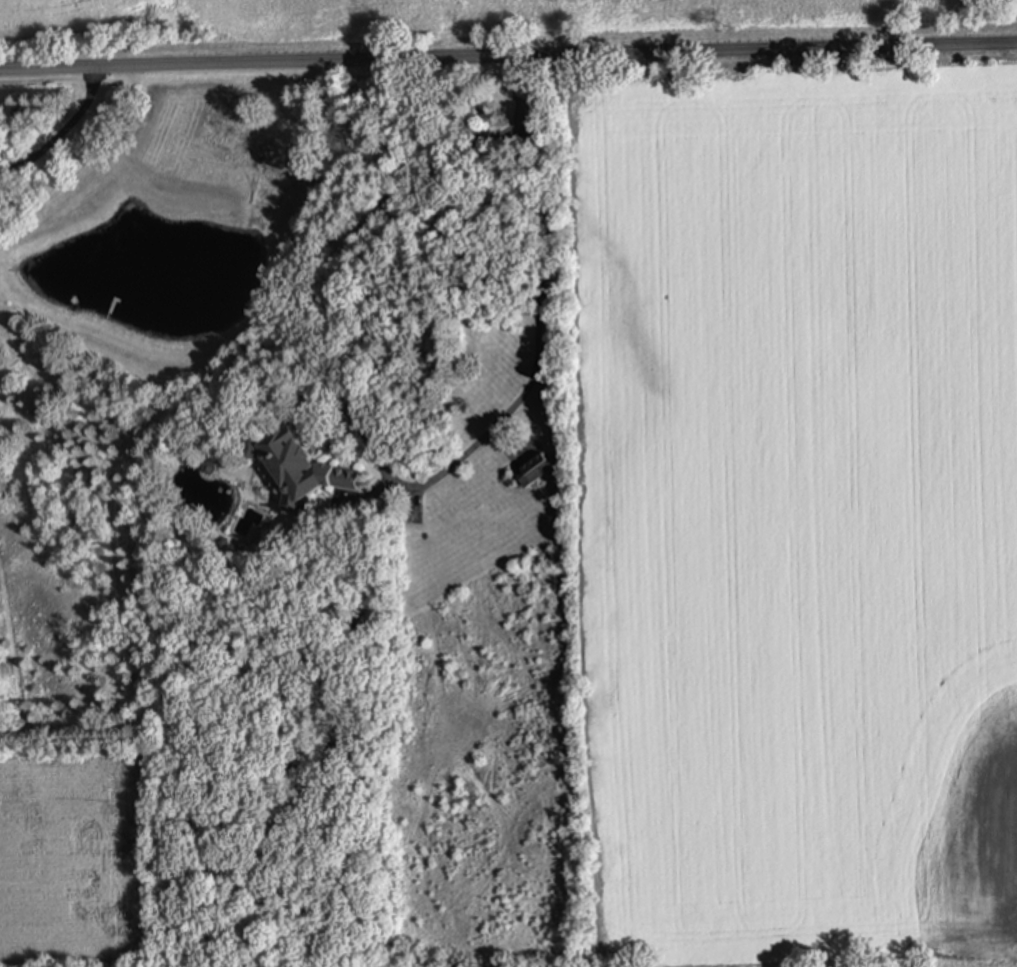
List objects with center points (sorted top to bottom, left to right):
road: (508, 58)
road: (62, 135)
road: (534, 301)
building: (298, 469)
building: (532, 472)

